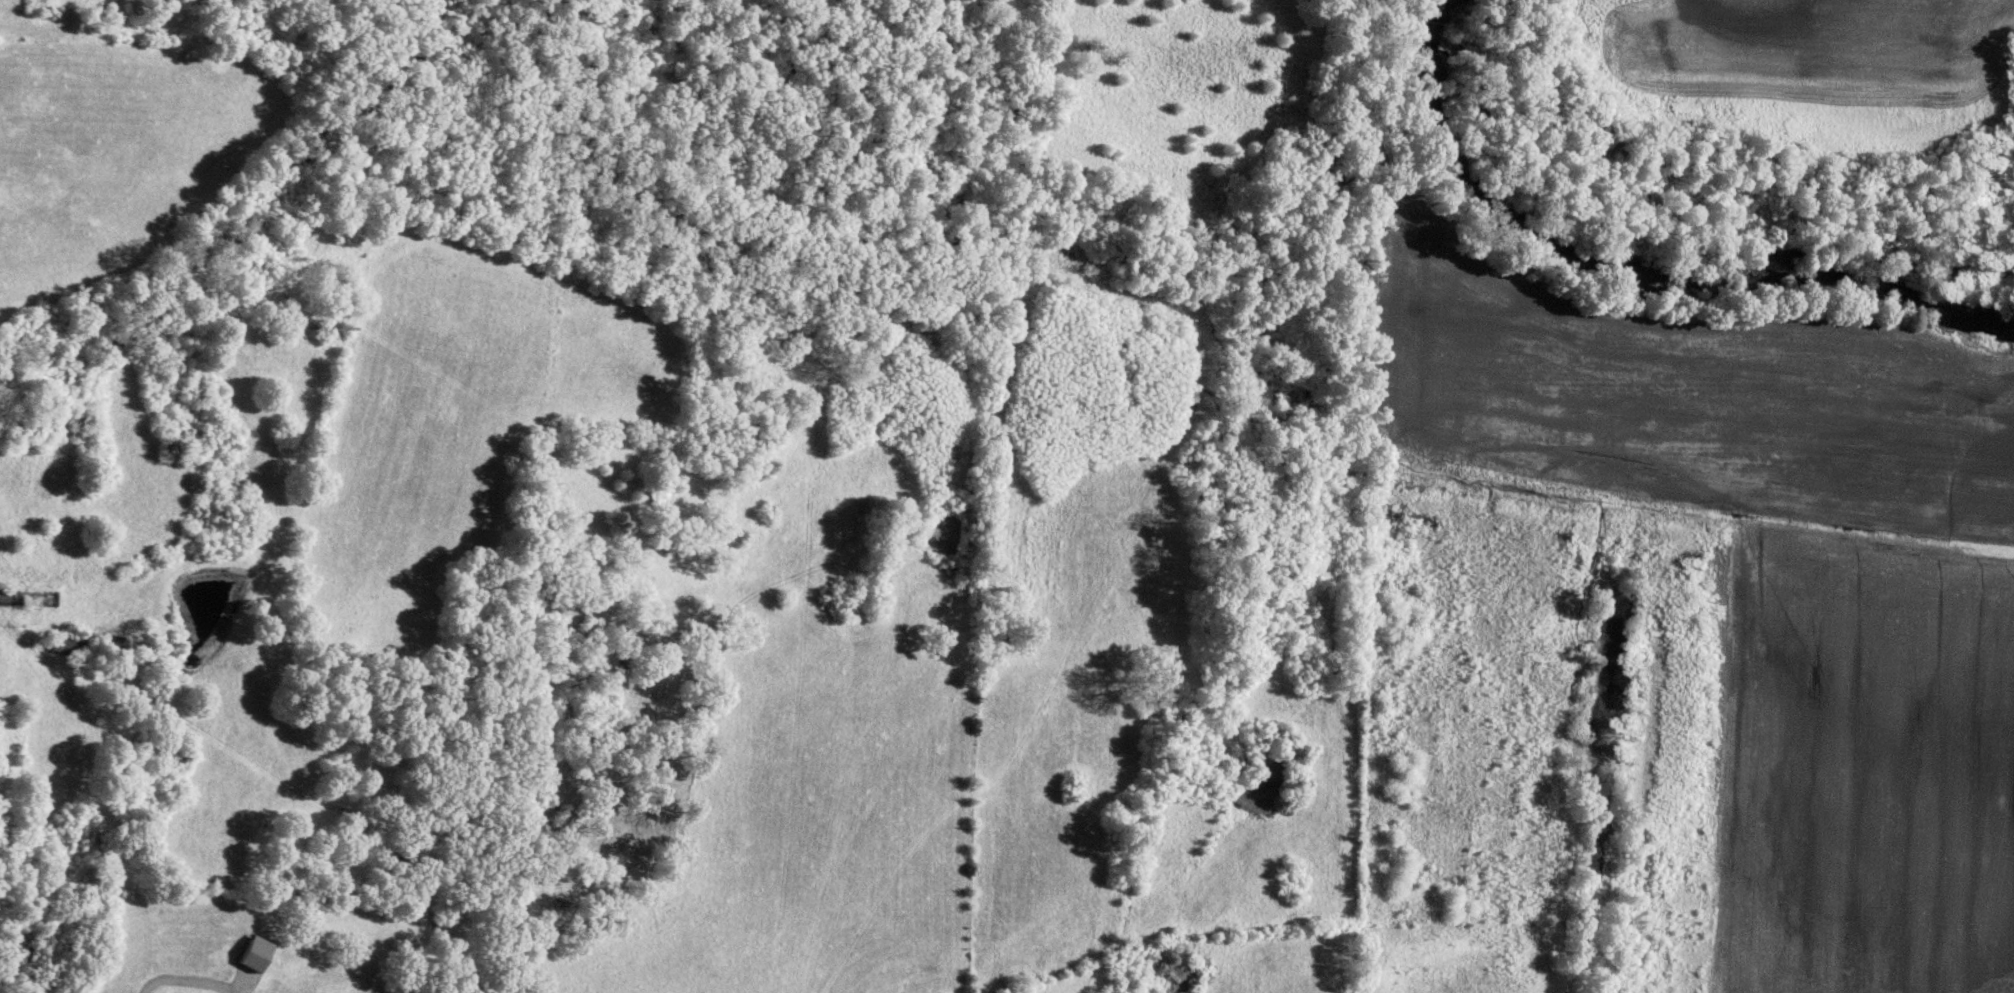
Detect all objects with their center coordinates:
river: (1615, 287)
building: (3, 593)
building: (95, 641)
road: (38, 653)
building: (255, 950)
road: (186, 977)

